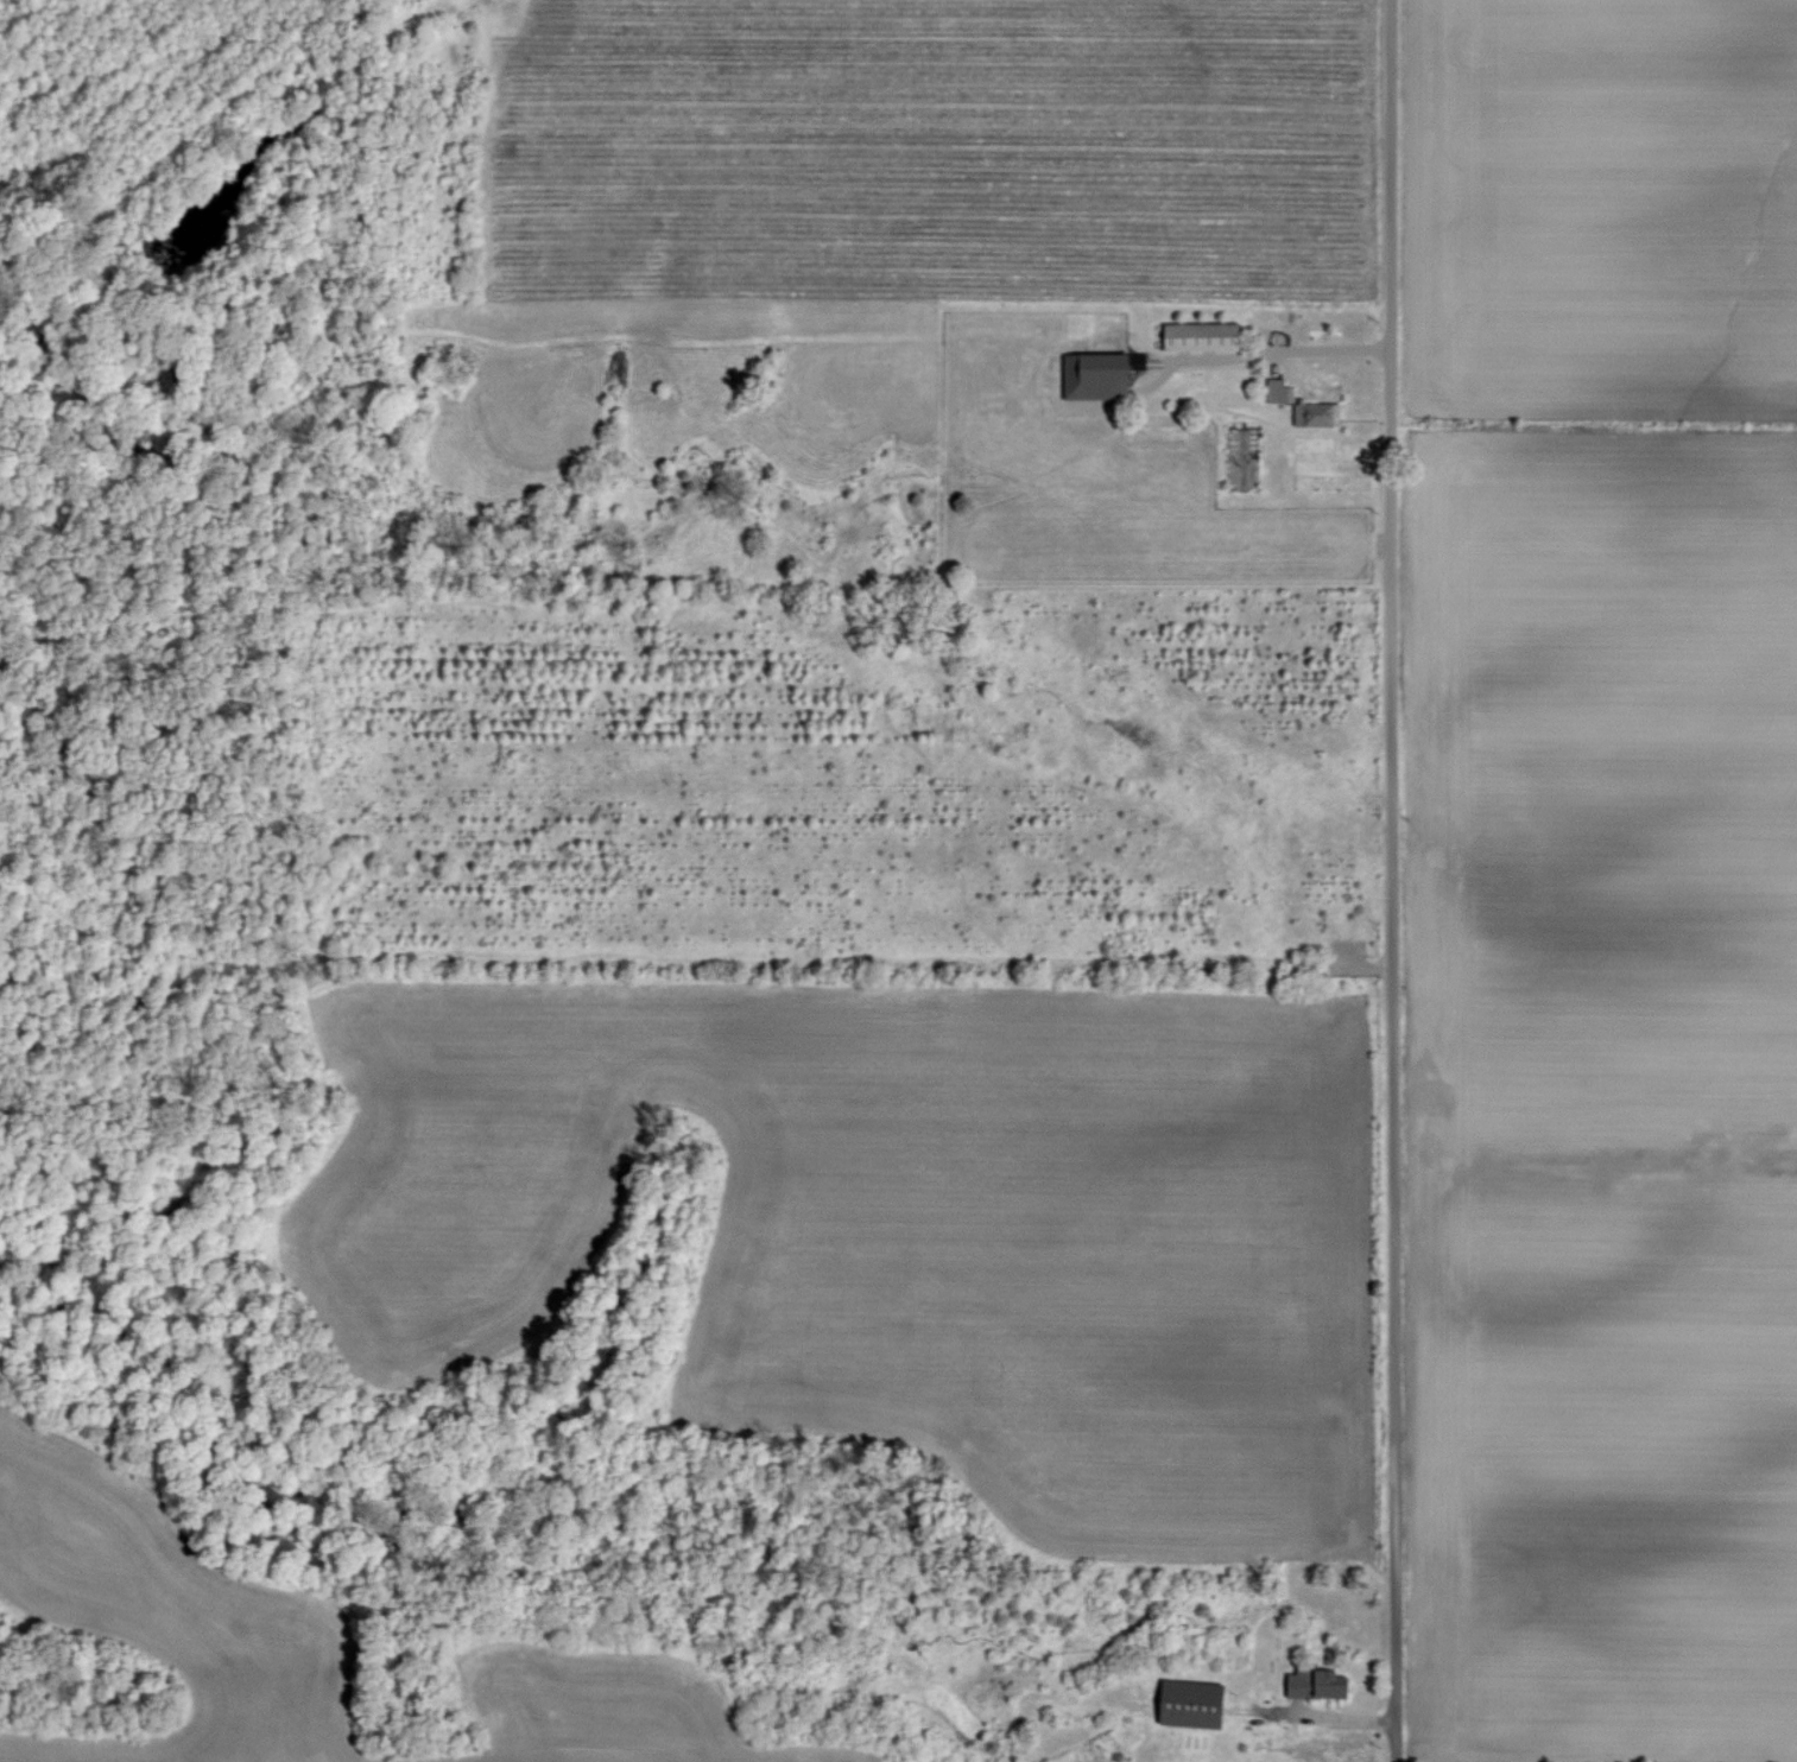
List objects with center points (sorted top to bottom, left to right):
building: (1196, 337)
road: (1272, 353)
building: (1094, 375)
building: (1274, 392)
building: (1312, 414)
road: (1382, 880)
building: (1311, 1684)
building: (1185, 1704)

